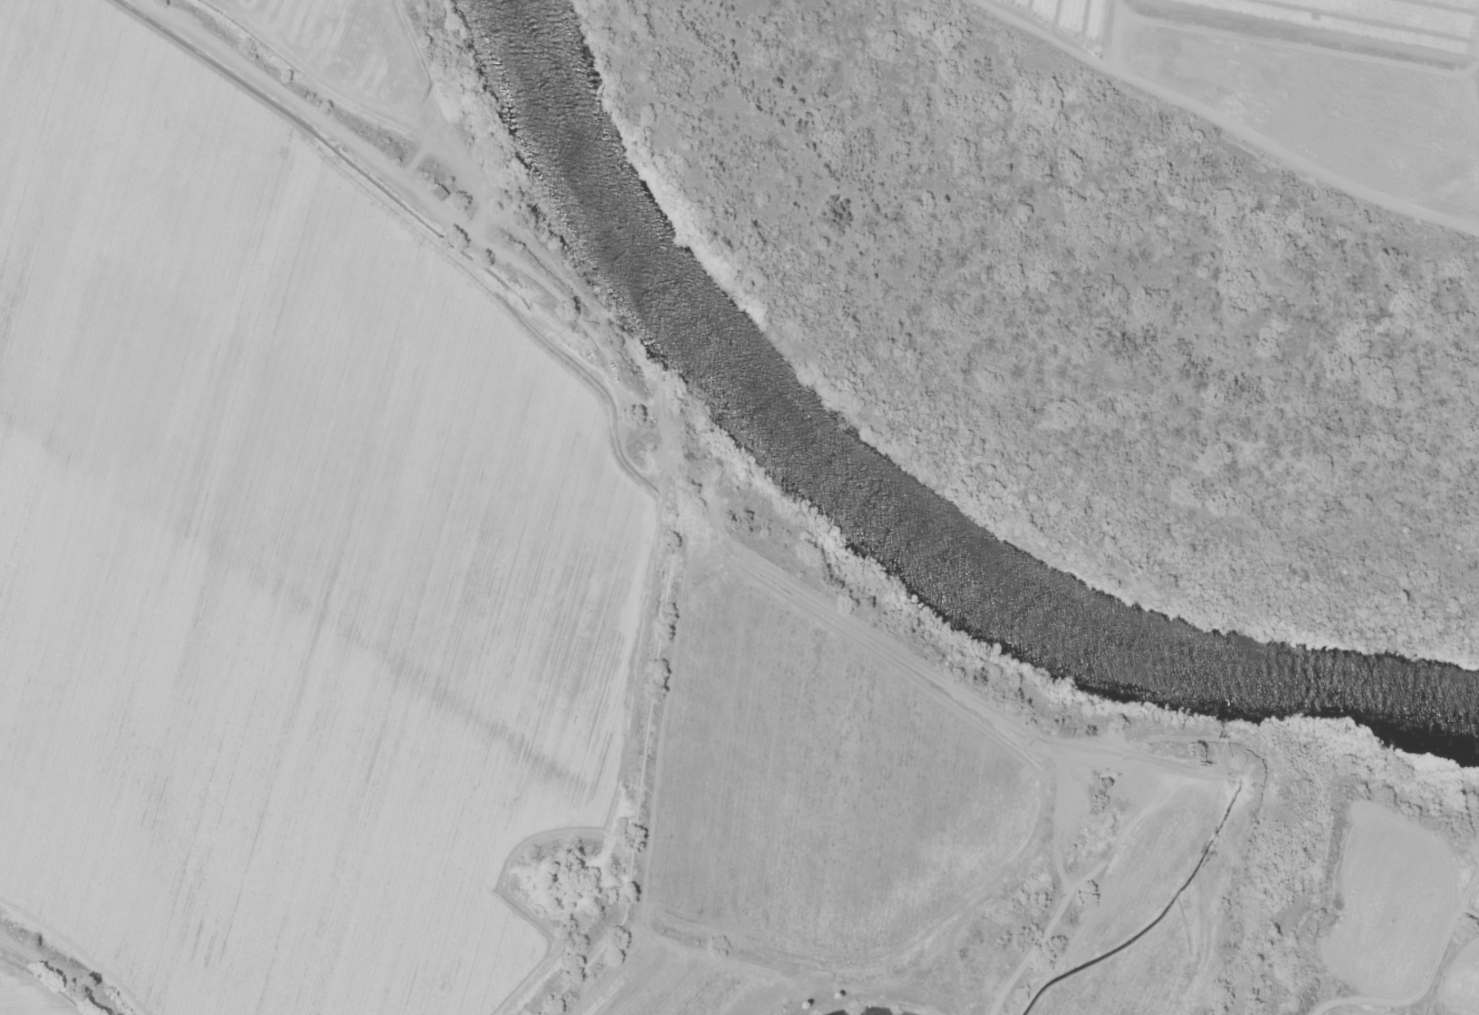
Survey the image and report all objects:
river: (883, 505)

